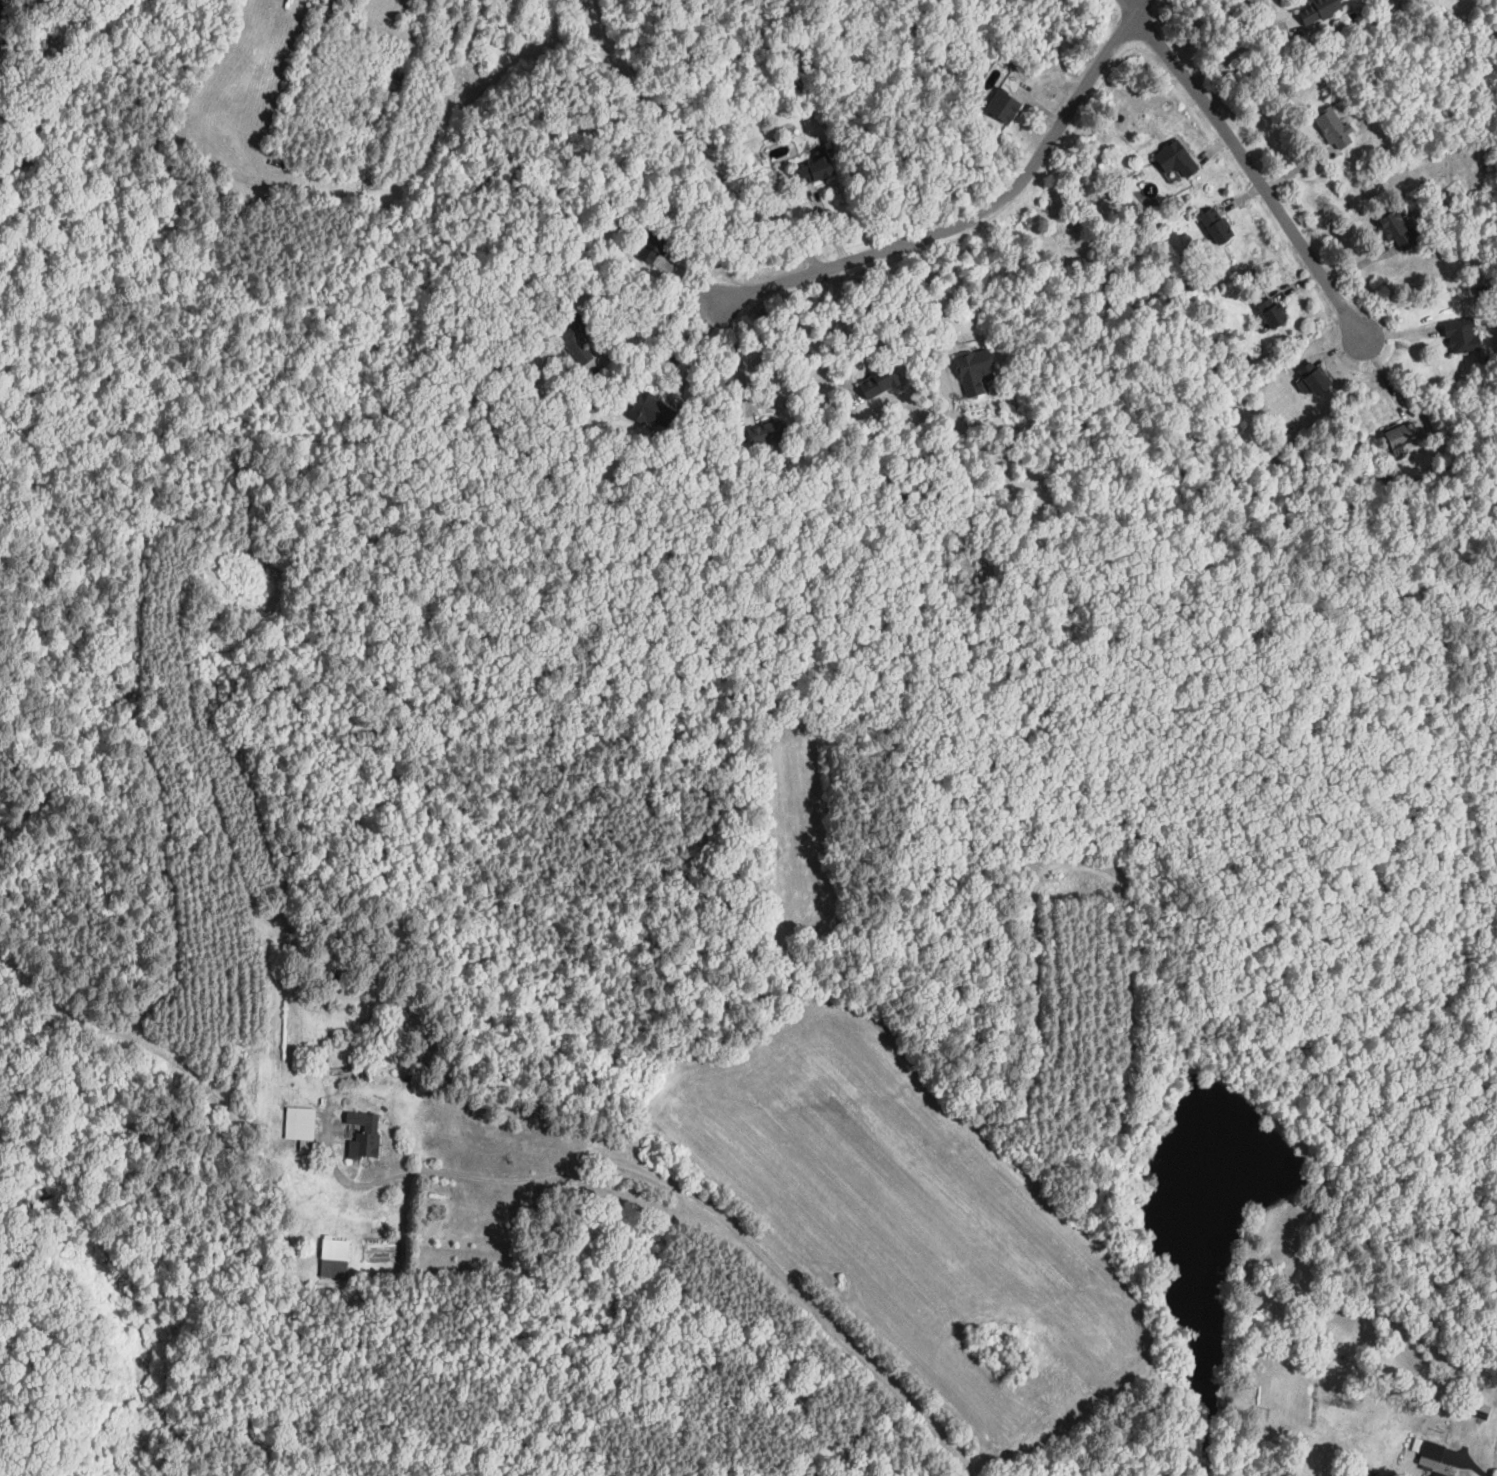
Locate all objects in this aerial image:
building: (1318, 9)
road: (1240, 50)
building: (1003, 105)
building: (1333, 128)
road: (691, 146)
building: (1176, 159)
road: (1248, 168)
building: (813, 171)
road: (976, 215)
building: (1216, 225)
building: (1399, 229)
building: (654, 245)
building: (1273, 312)
road: (932, 314)
road: (653, 323)
road: (843, 332)
building: (572, 335)
building: (1463, 336)
road: (698, 350)
road: (737, 356)
building: (975, 371)
building: (1312, 378)
building: (878, 382)
building: (652, 411)
building: (766, 431)
building: (1401, 436)
building: (299, 1123)
building: (364, 1134)
road: (677, 1188)
building: (334, 1258)
building: (1432, 1450)
road: (1473, 1466)
building: (1440, 1474)

